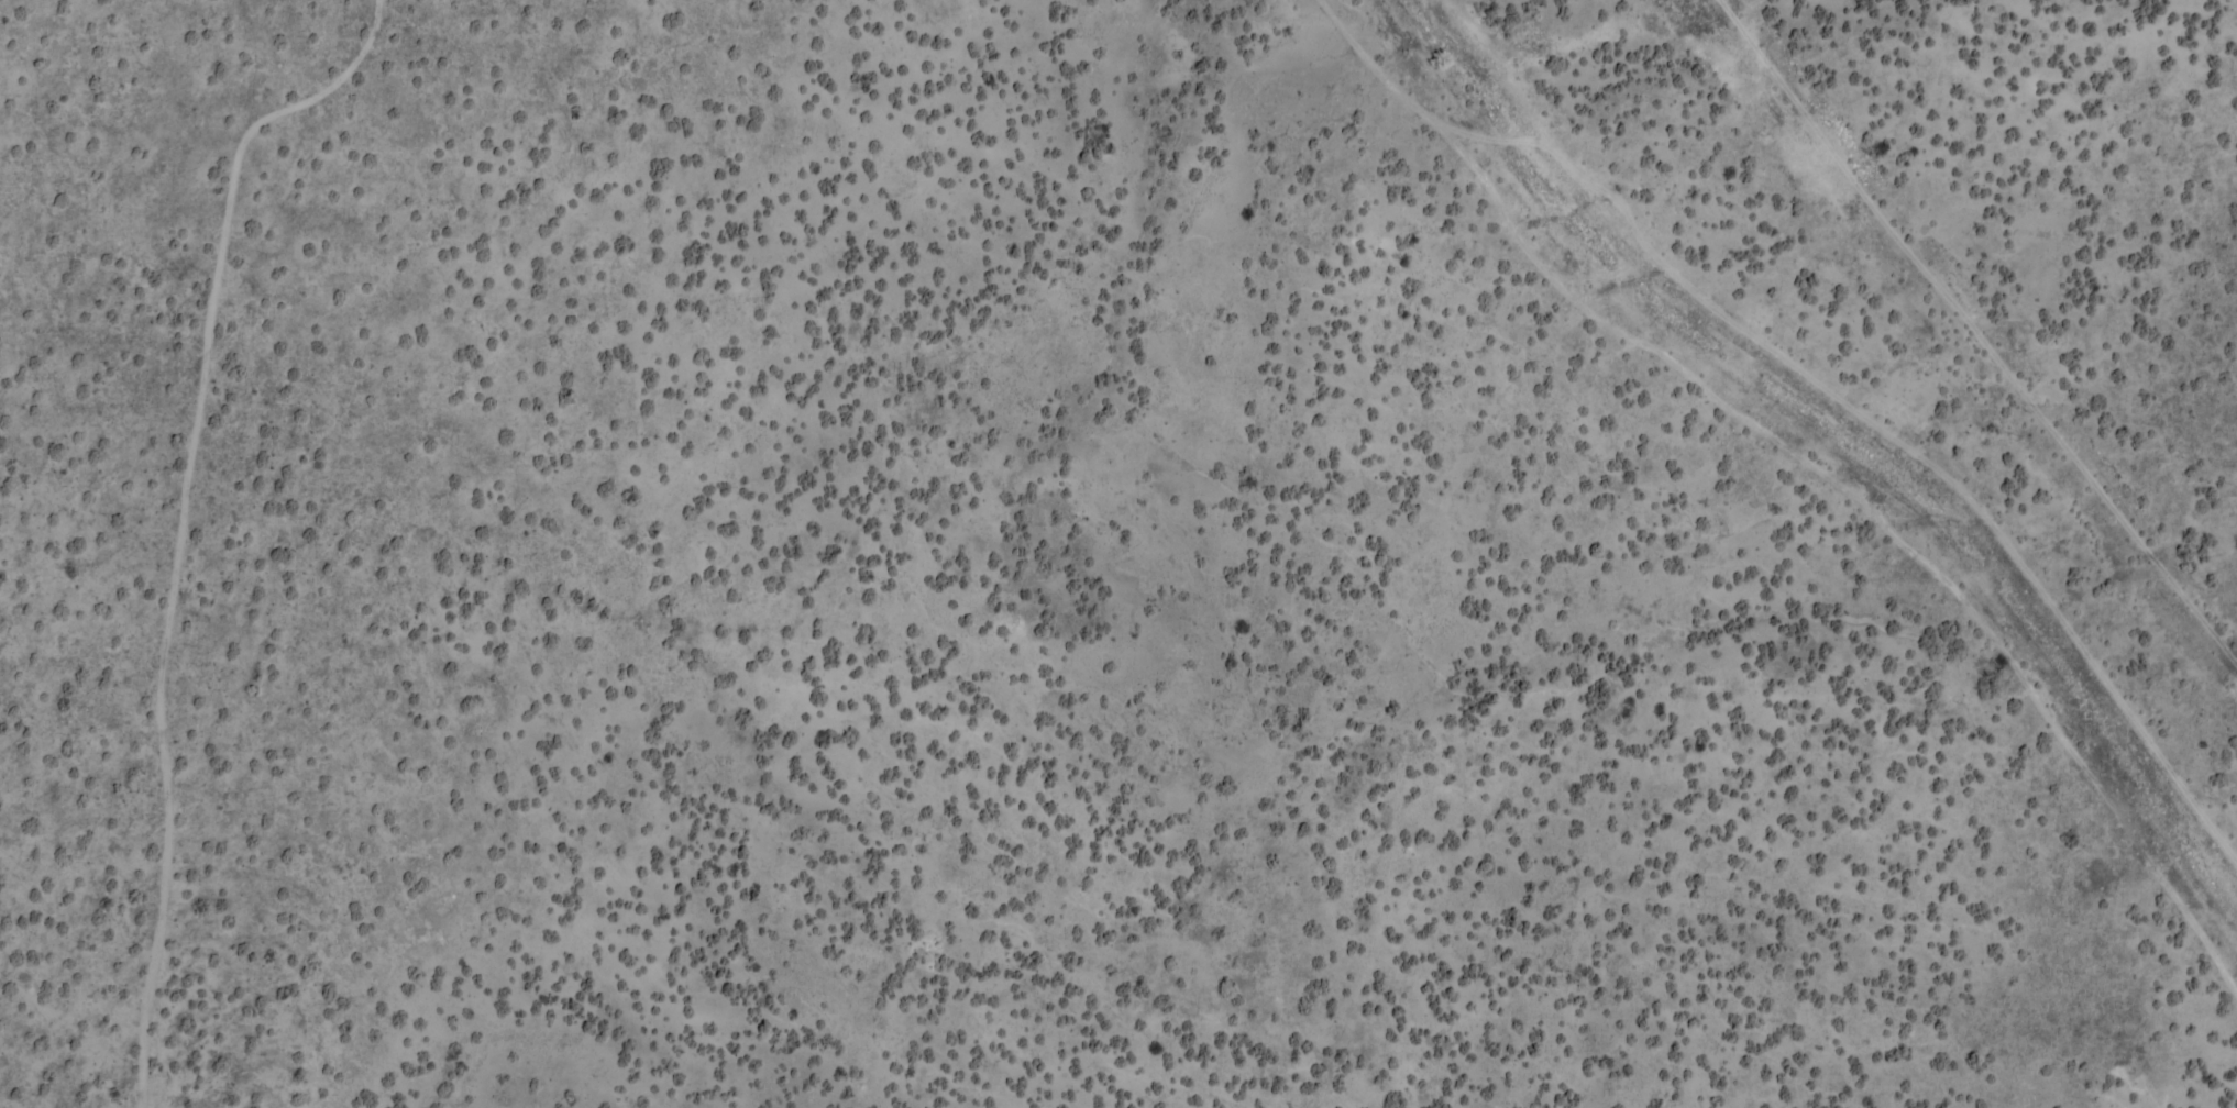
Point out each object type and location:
road: (184, 556)

